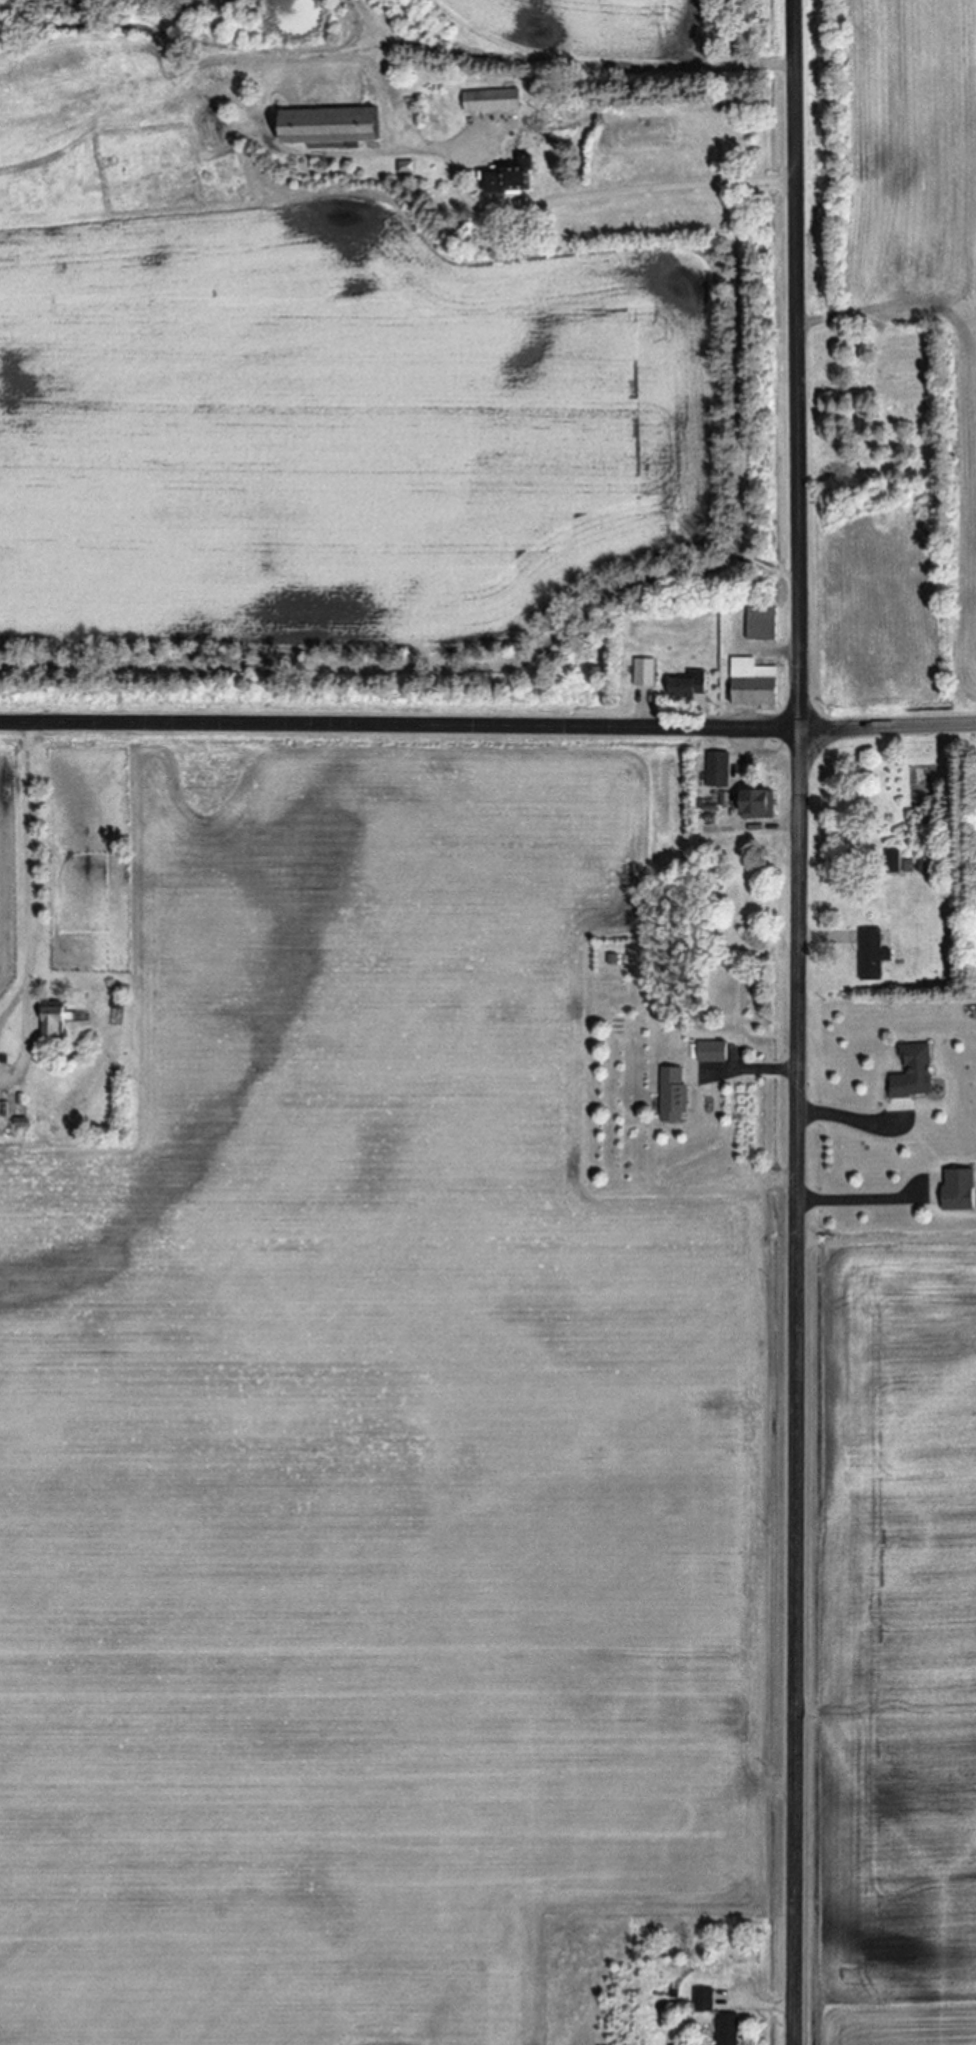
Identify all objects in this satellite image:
building: (491, 101)
building: (329, 128)
building: (405, 168)
building: (510, 181)
road: (603, 191)
building: (762, 624)
building: (644, 672)
building: (689, 685)
building: (753, 685)
road: (488, 726)
building: (718, 770)
building: (757, 805)
road: (34, 859)
building: (893, 861)
road: (823, 936)
building: (873, 955)
road: (13, 1010)
road: (799, 1022)
road: (25, 1043)
building: (712, 1052)
road: (761, 1072)
building: (914, 1074)
building: (673, 1096)
road: (840, 1115)
building: (959, 1191)
road: (862, 1199)
building: (704, 1999)
road: (768, 2006)
building: (728, 2029)

